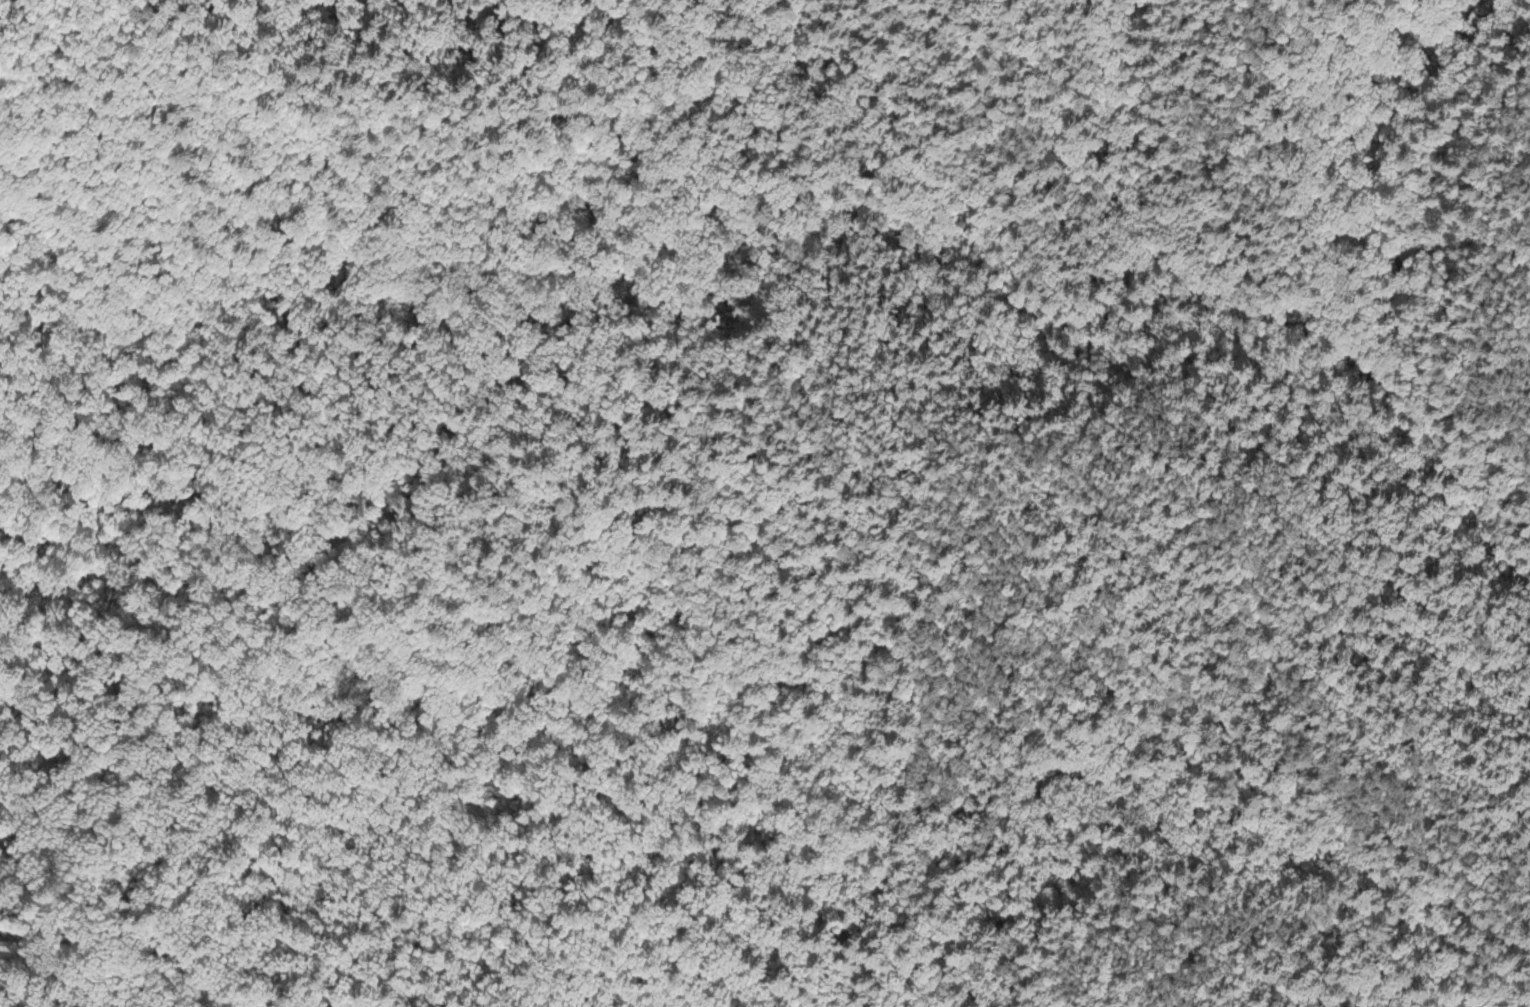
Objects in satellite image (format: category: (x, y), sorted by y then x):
road: (1427, 909)

